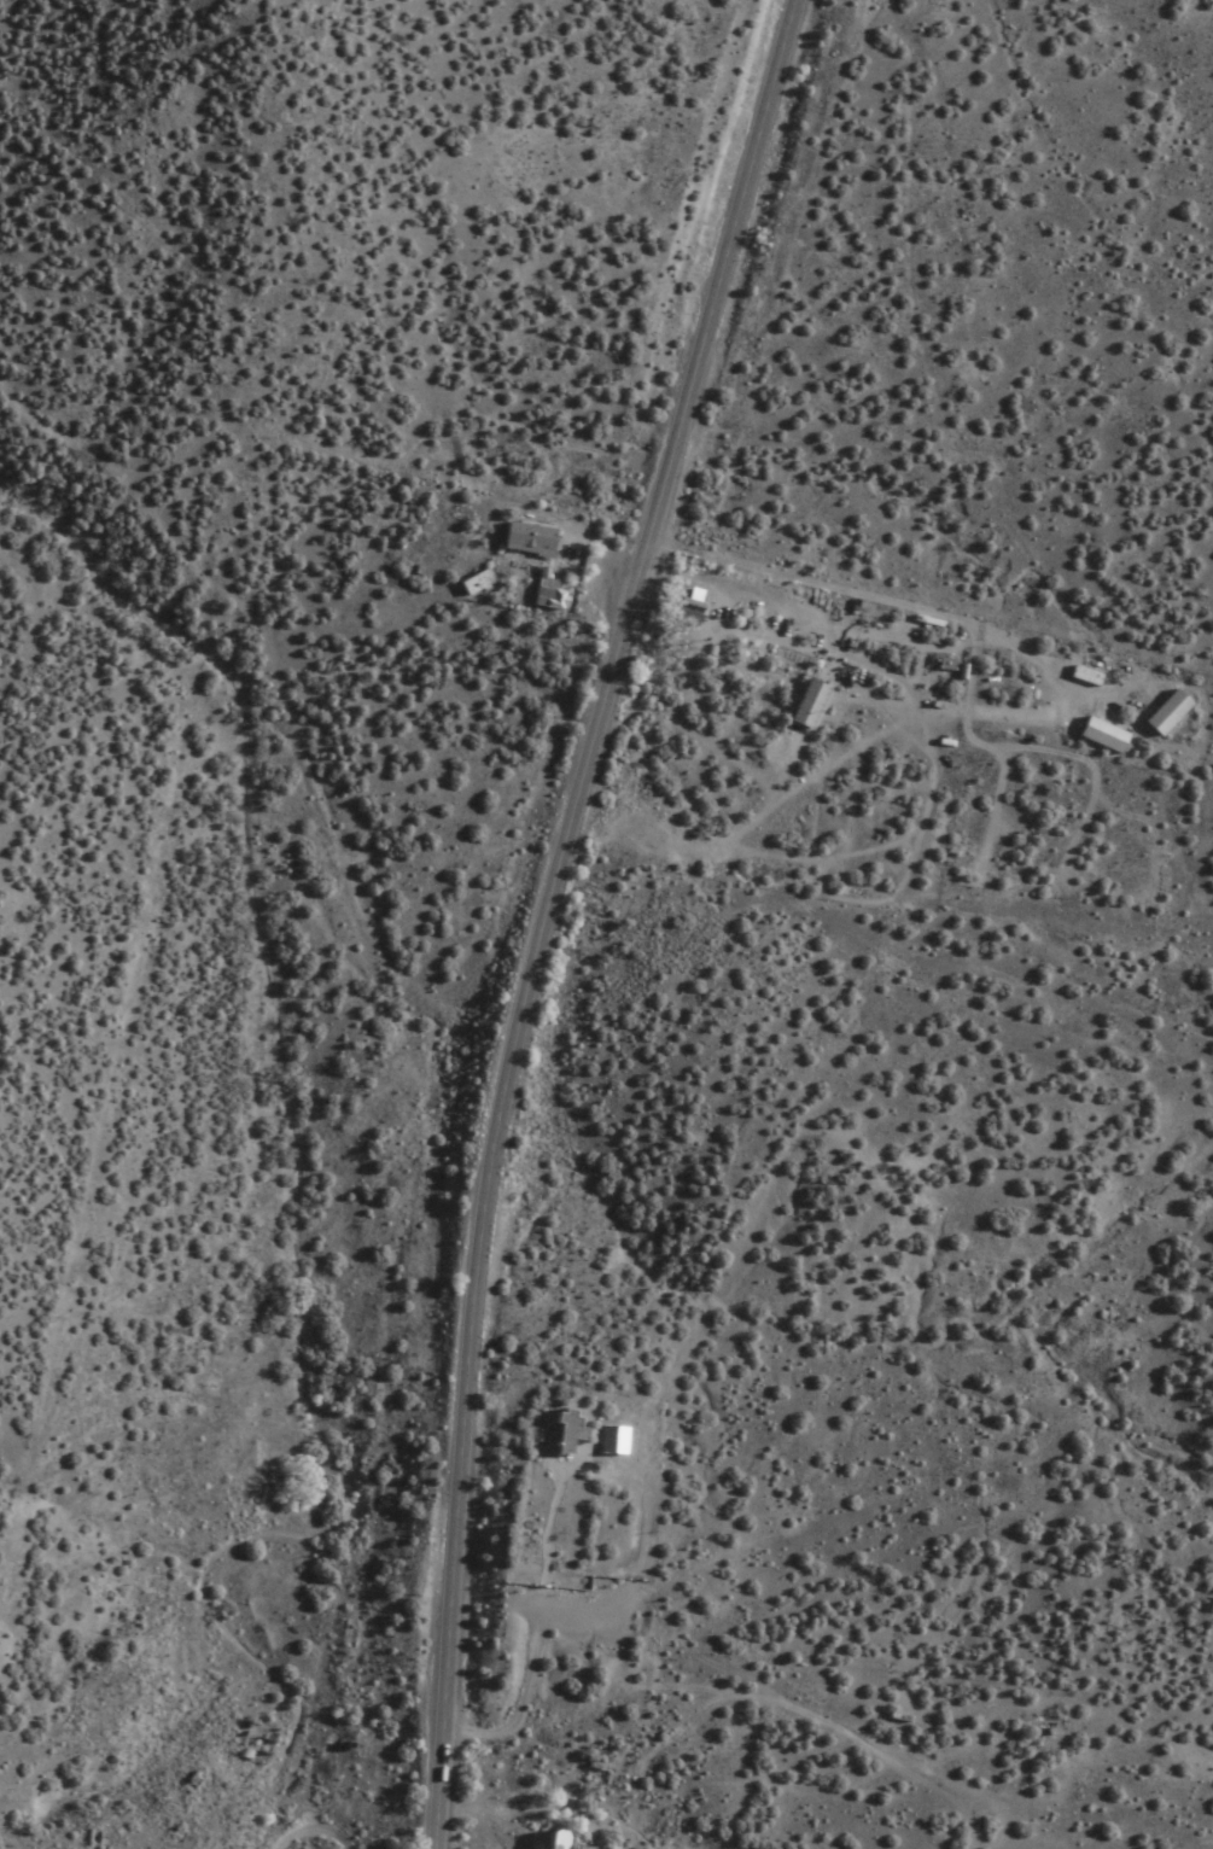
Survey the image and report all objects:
road: (733, 227)
building: (525, 537)
building: (473, 583)
building: (544, 594)
road: (917, 606)
building: (687, 612)
building: (945, 665)
road: (489, 1141)
building: (562, 1430)
road: (543, 1527)
park: (576, 1530)
parking lot: (608, 1612)
road: (520, 1699)
road: (315, 1828)
building: (552, 1839)

